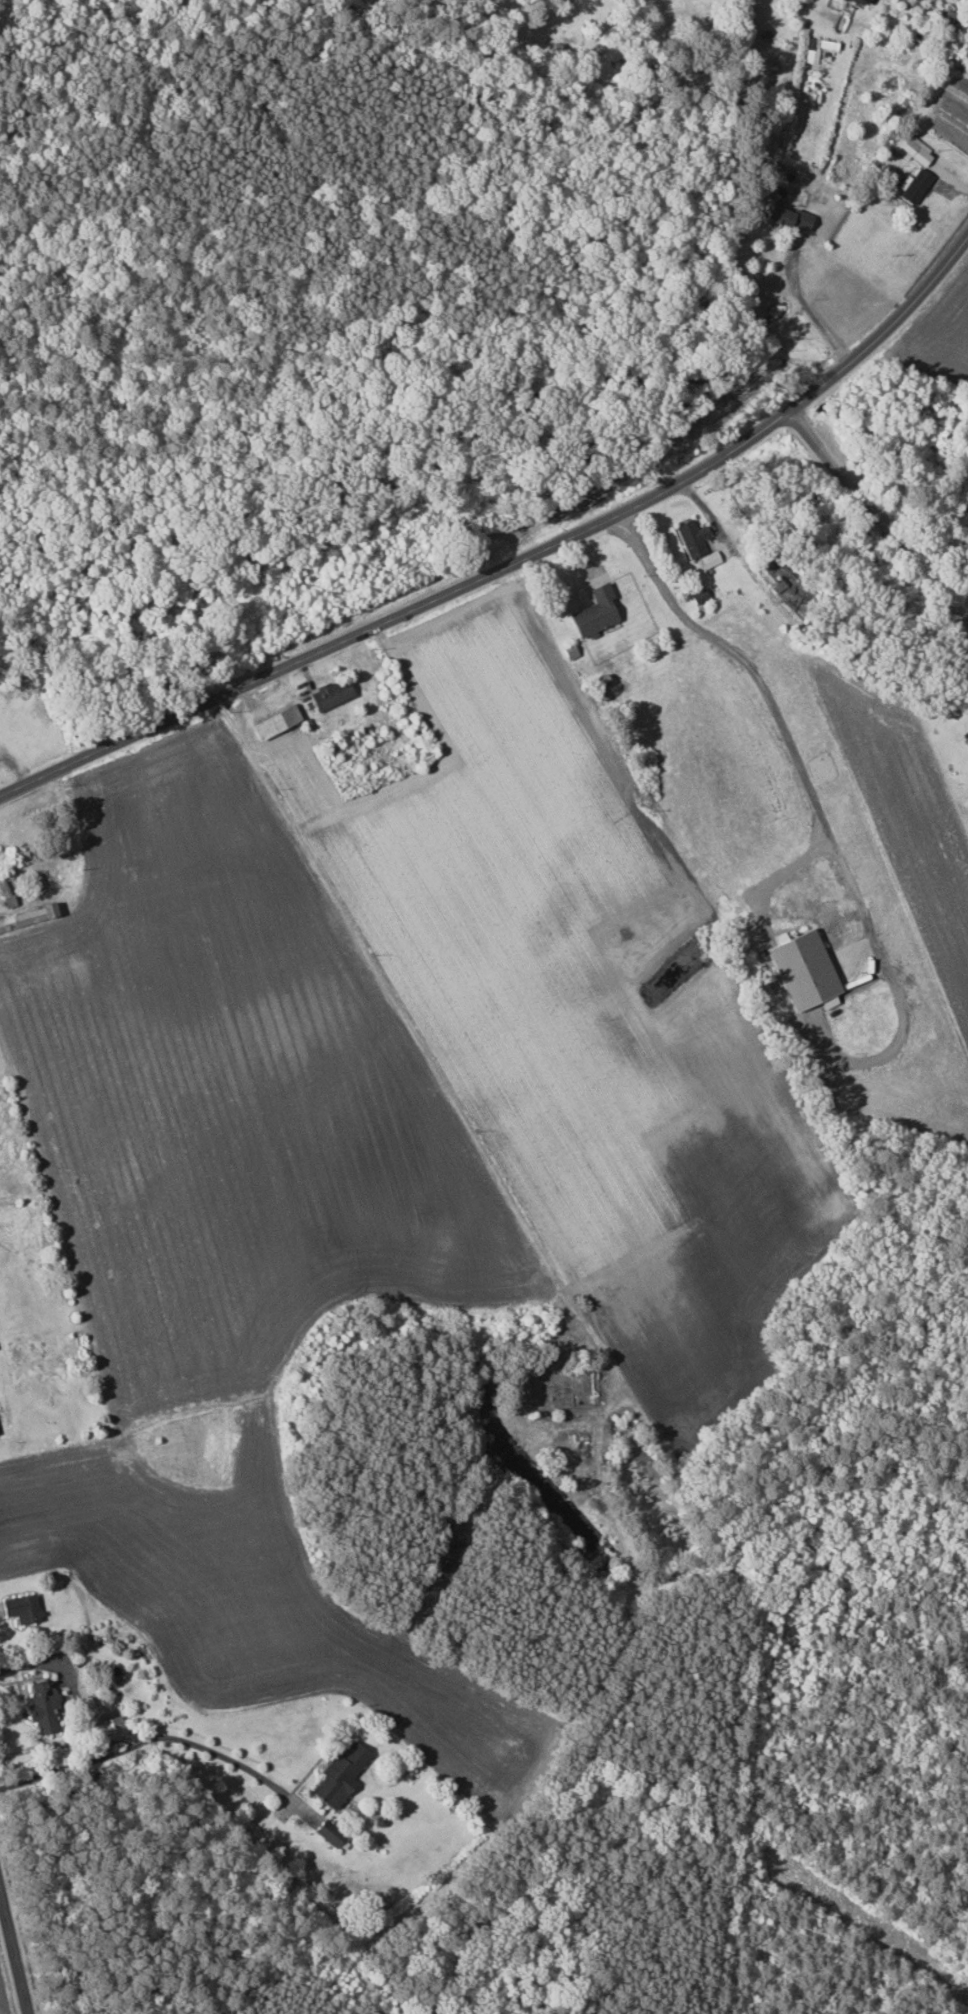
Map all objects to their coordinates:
building: (854, 1)
building: (811, 56)
building: (911, 148)
building: (912, 185)
building: (787, 216)
road: (809, 309)
road: (882, 510)
building: (690, 537)
road: (513, 561)
building: (593, 611)
building: (329, 693)
road: (763, 694)
building: (273, 721)
building: (420, 745)
building: (802, 970)
road: (401, 1036)
building: (20, 1608)
road: (29, 1664)
building: (41, 1707)
building: (114, 1728)
building: (339, 1774)
building: (328, 1833)
road: (15, 1947)

